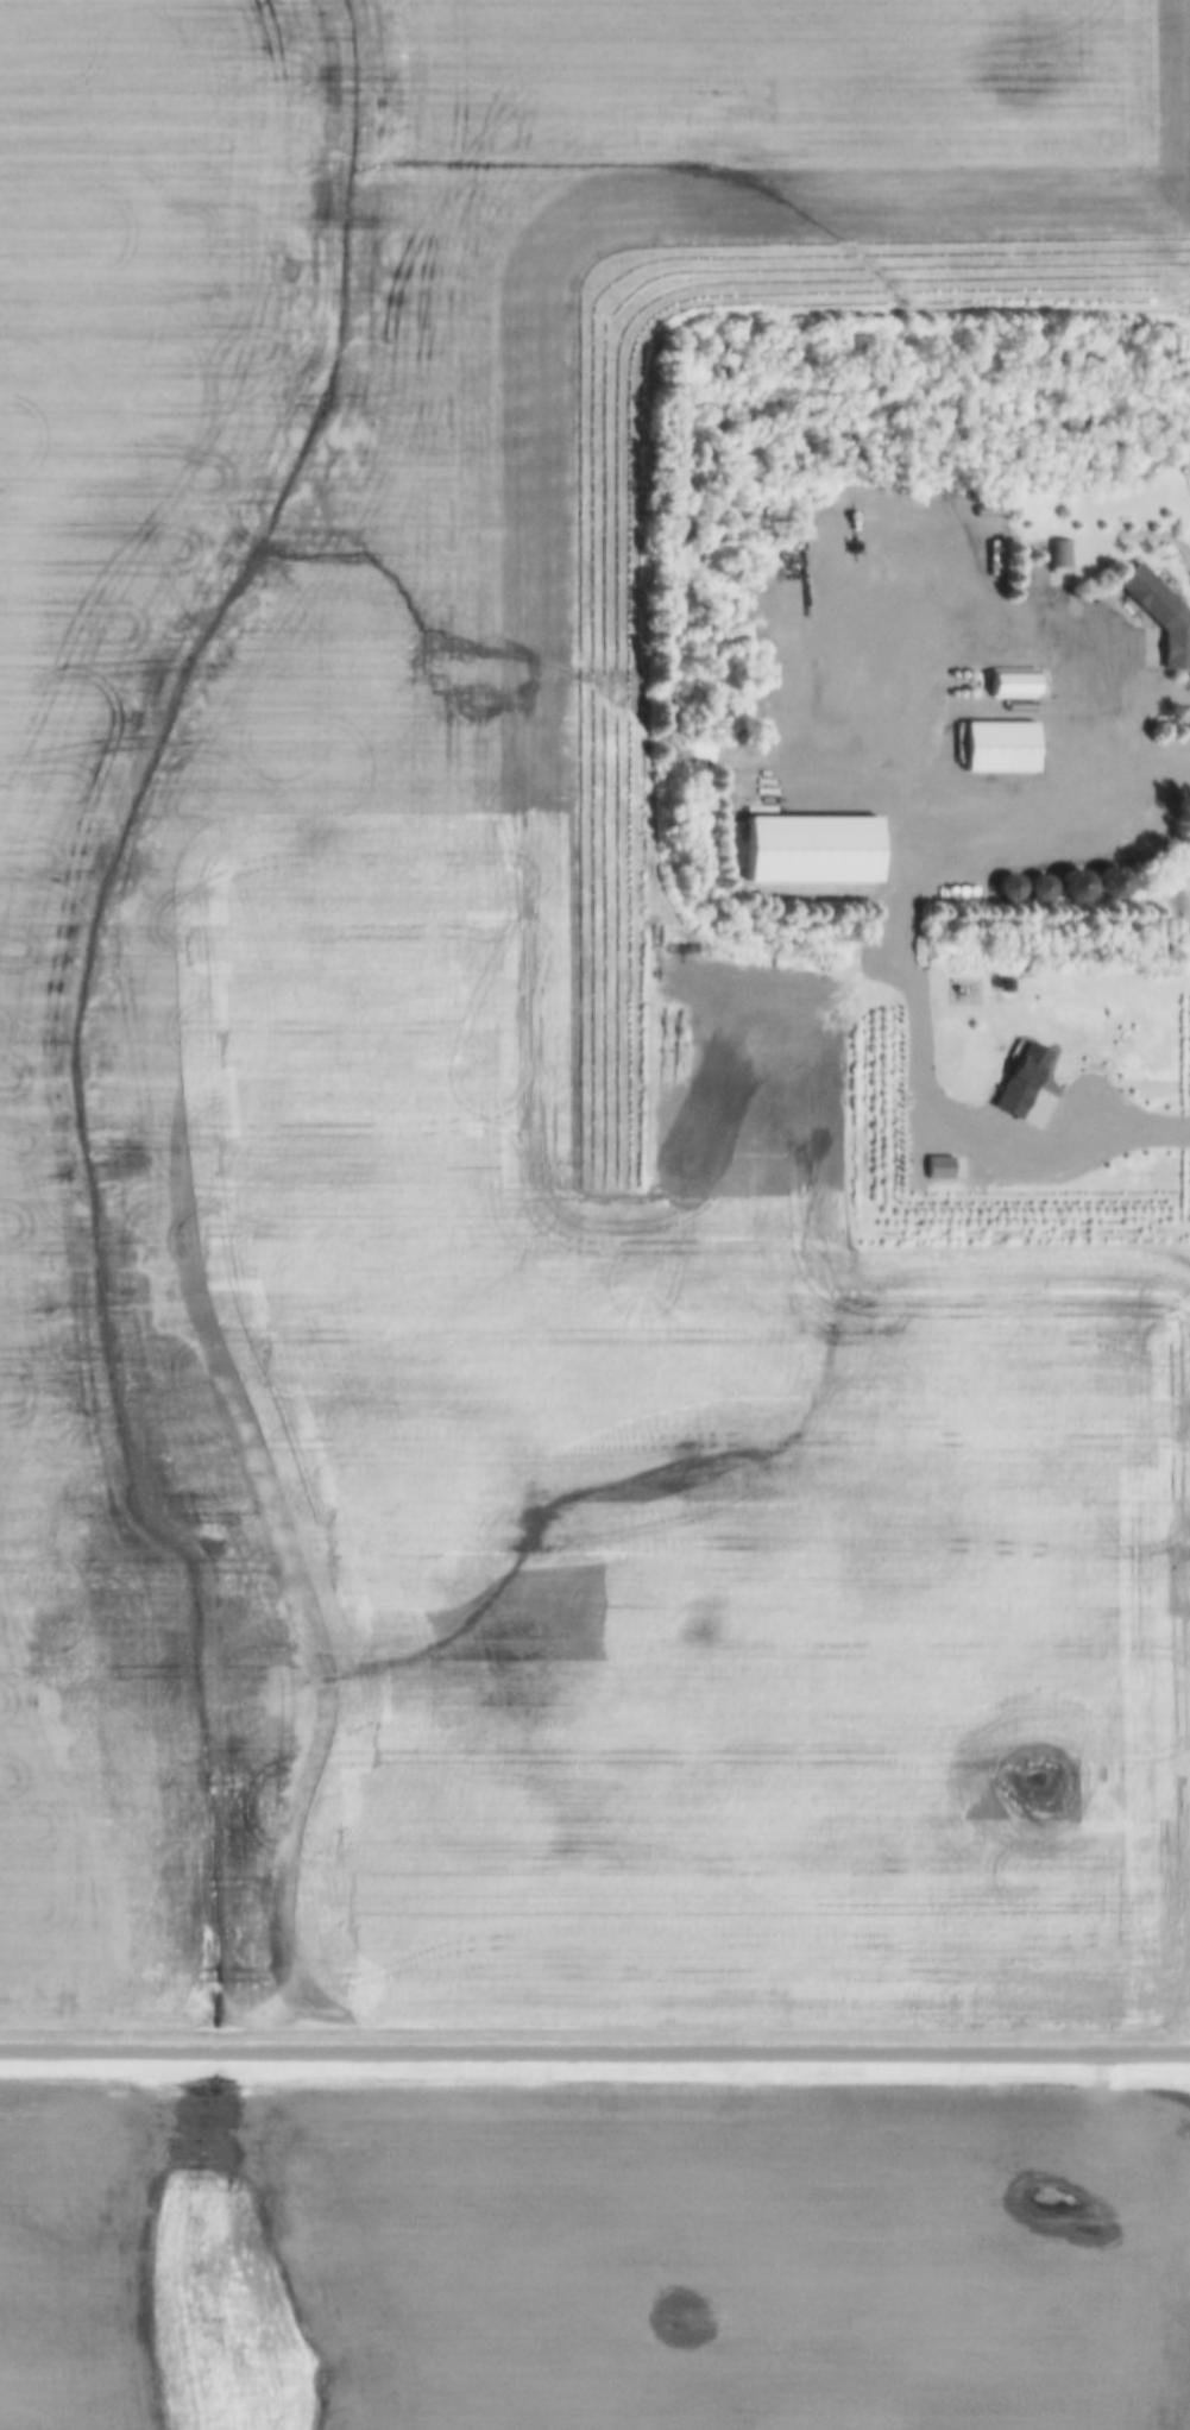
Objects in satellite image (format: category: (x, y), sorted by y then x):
building: (1059, 554)
building: (1161, 617)
road: (1070, 621)
road: (1159, 673)
building: (1013, 687)
building: (999, 749)
road: (1104, 763)
building: (811, 851)
building: (1072, 888)
building: (1109, 888)
building: (1008, 890)
building: (1039, 890)
road: (594, 2056)

